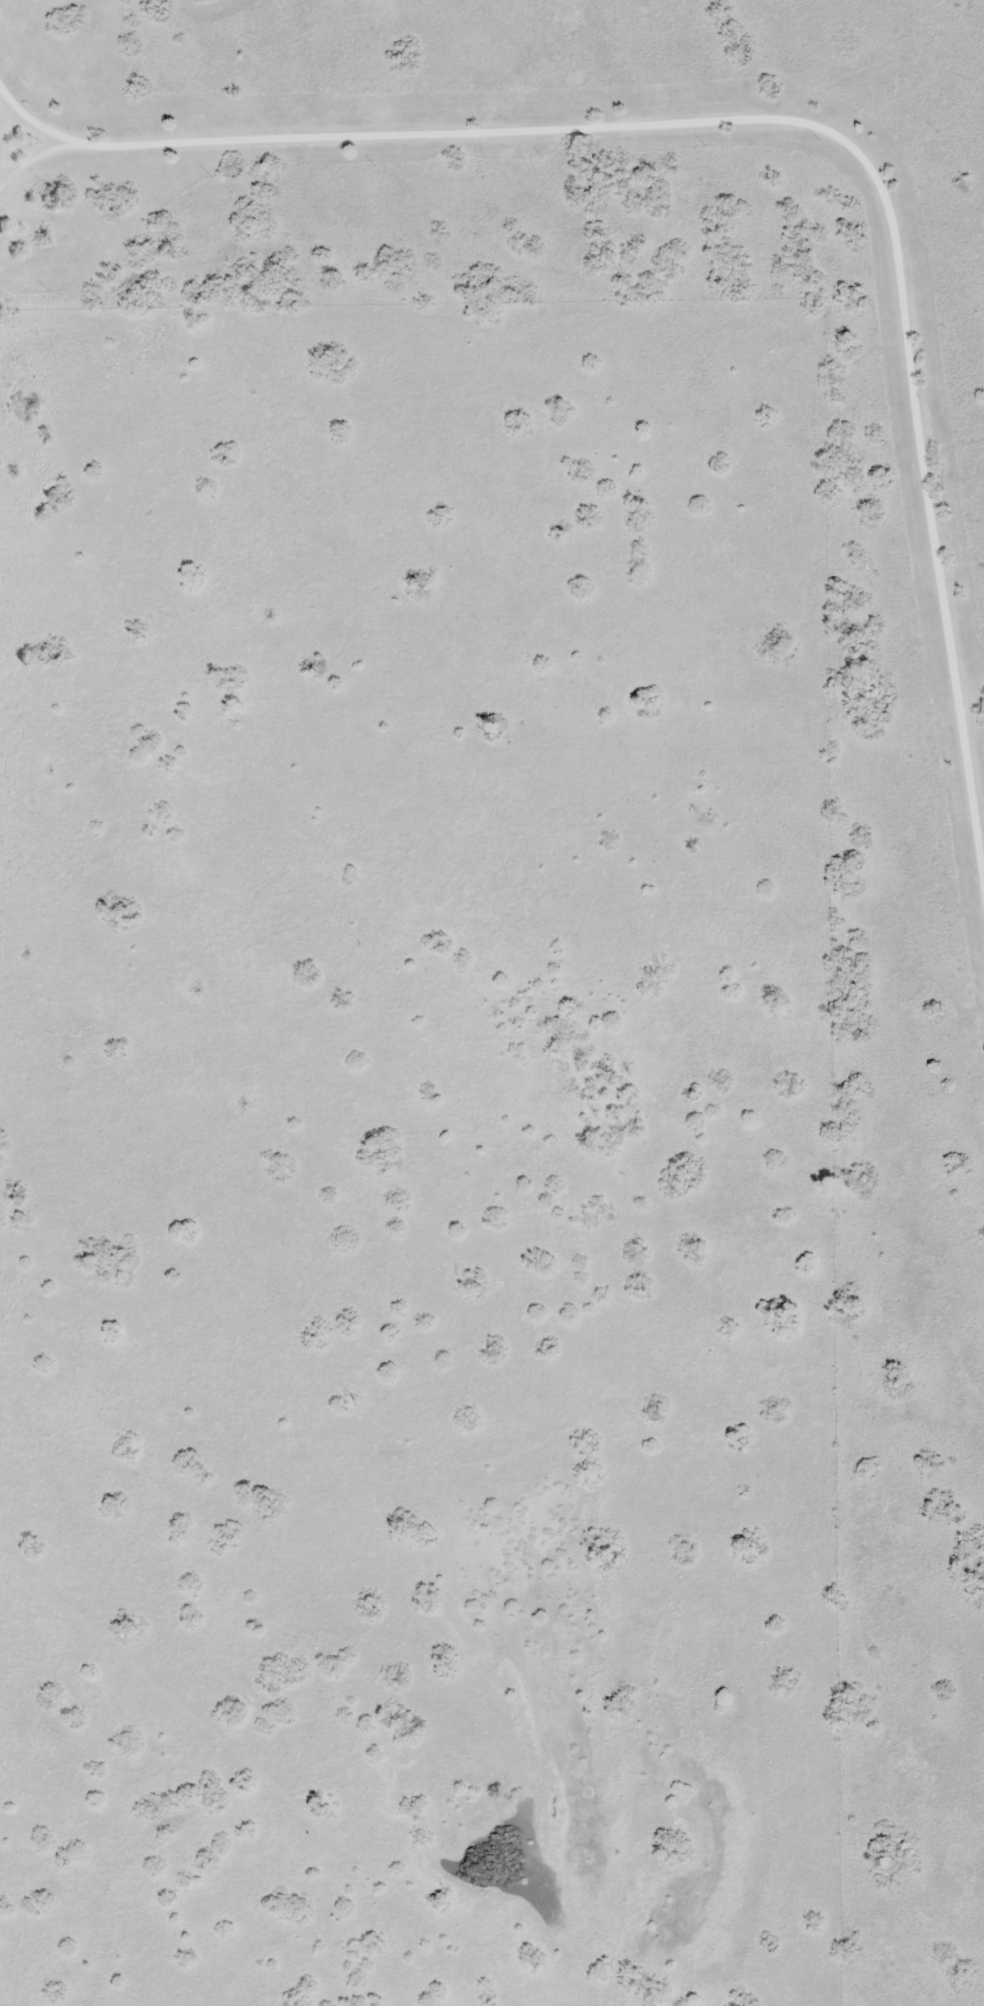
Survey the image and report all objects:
road: (730, 137)
road: (39, 168)

